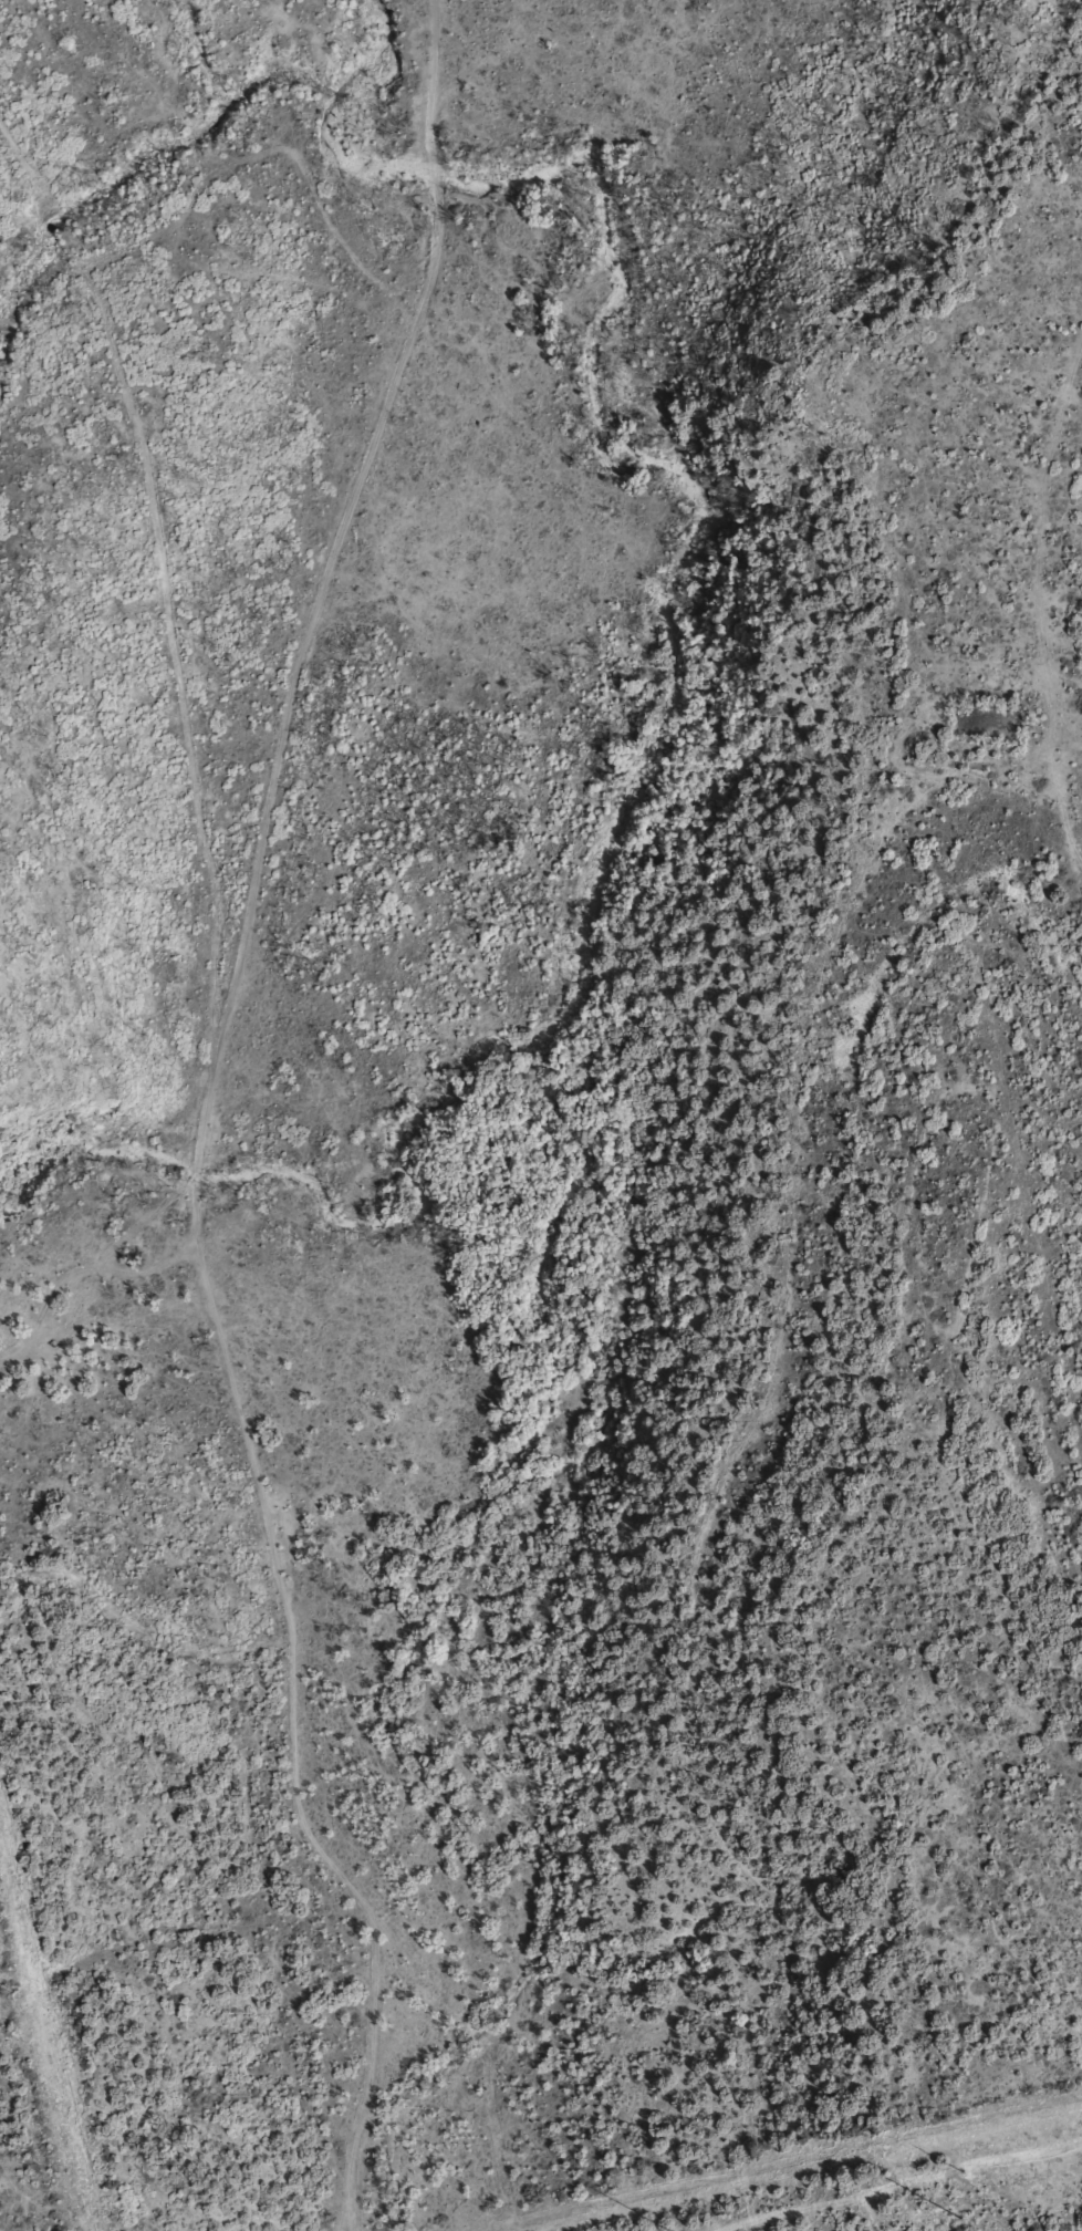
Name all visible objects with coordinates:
power tower: (965, 2173)
power tower: (961, 2219)
road: (1050, 2223)

